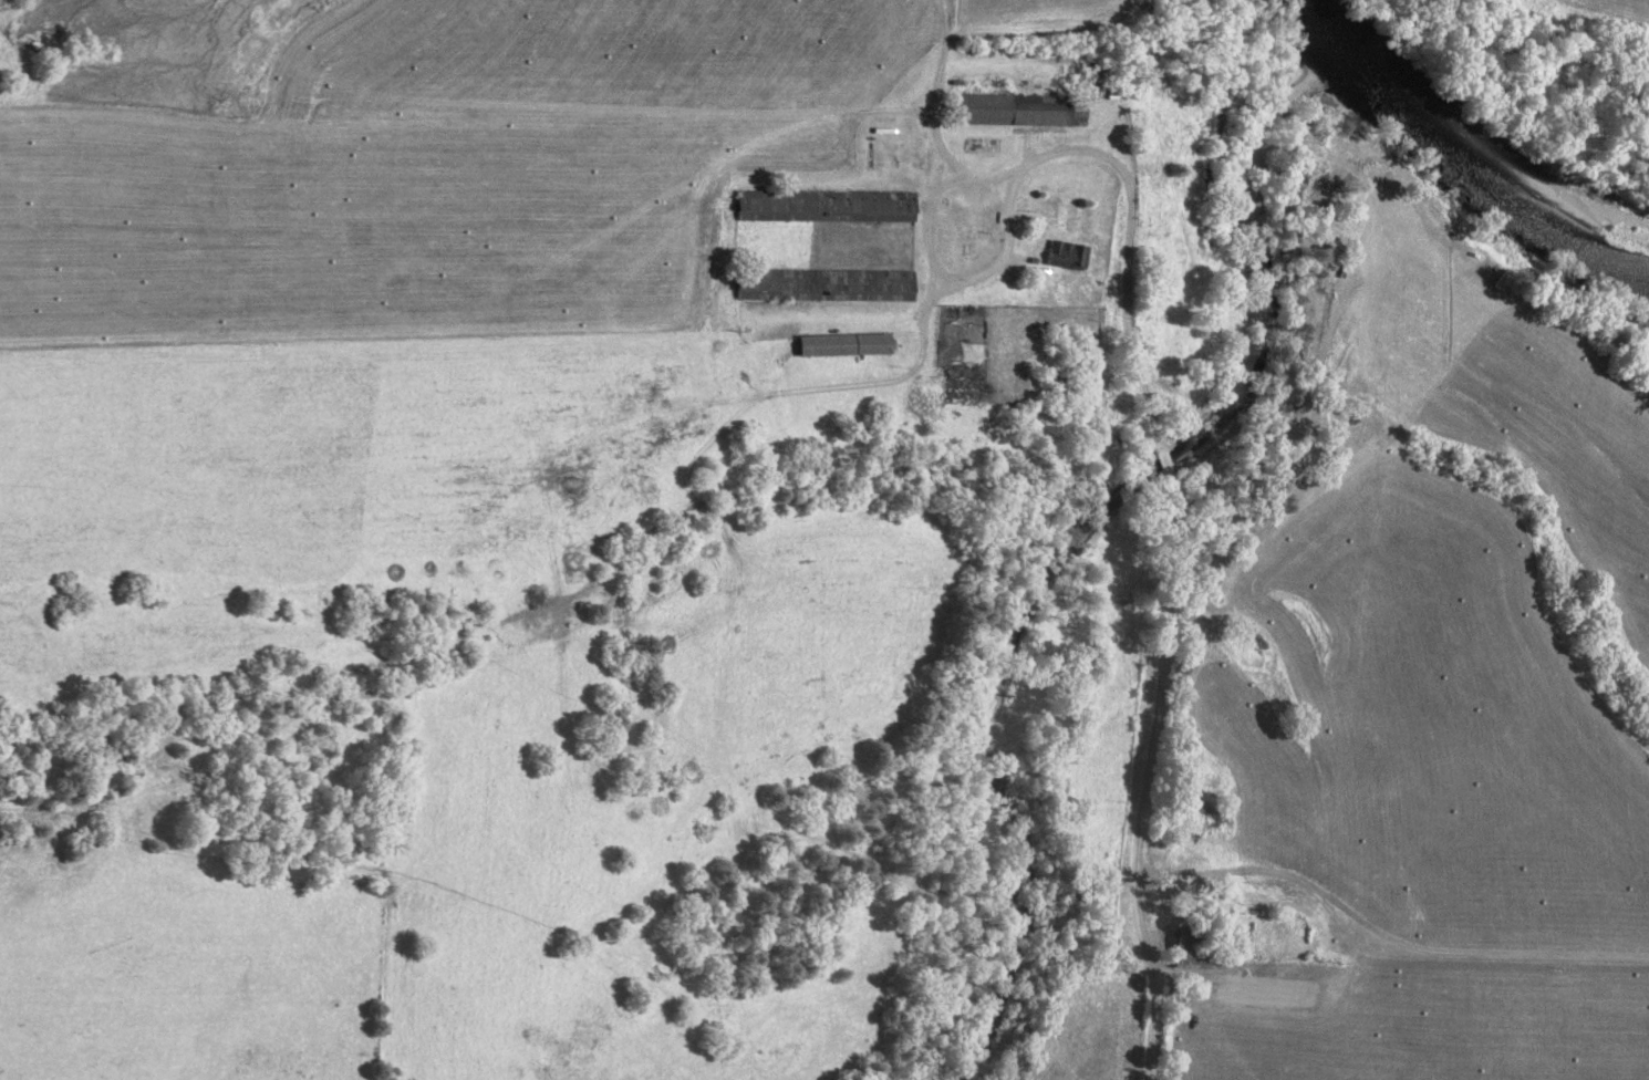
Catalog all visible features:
building: (1009, 110)
river: (1459, 176)
building: (826, 205)
building: (1054, 208)
building: (1065, 253)
building: (841, 284)
road: (640, 555)
road: (1161, 590)

